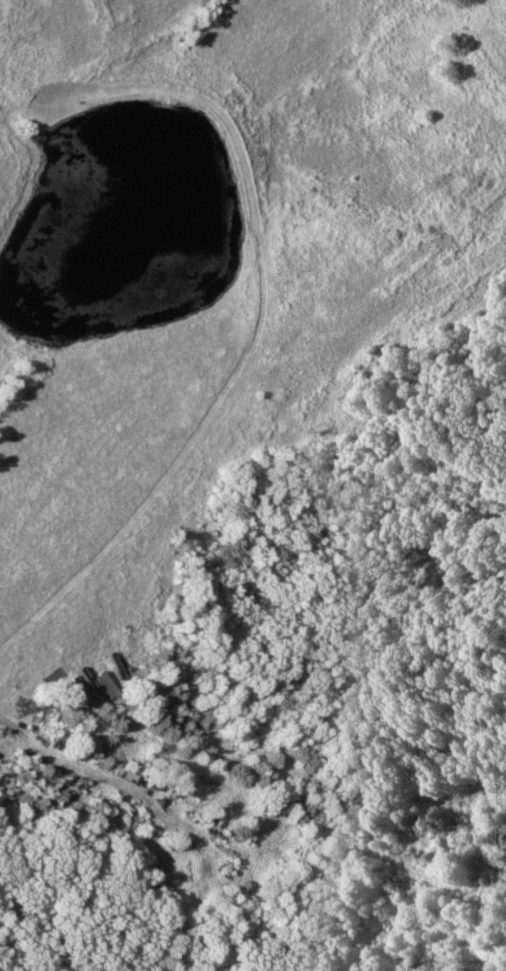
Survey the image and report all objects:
building: (137, 778)

